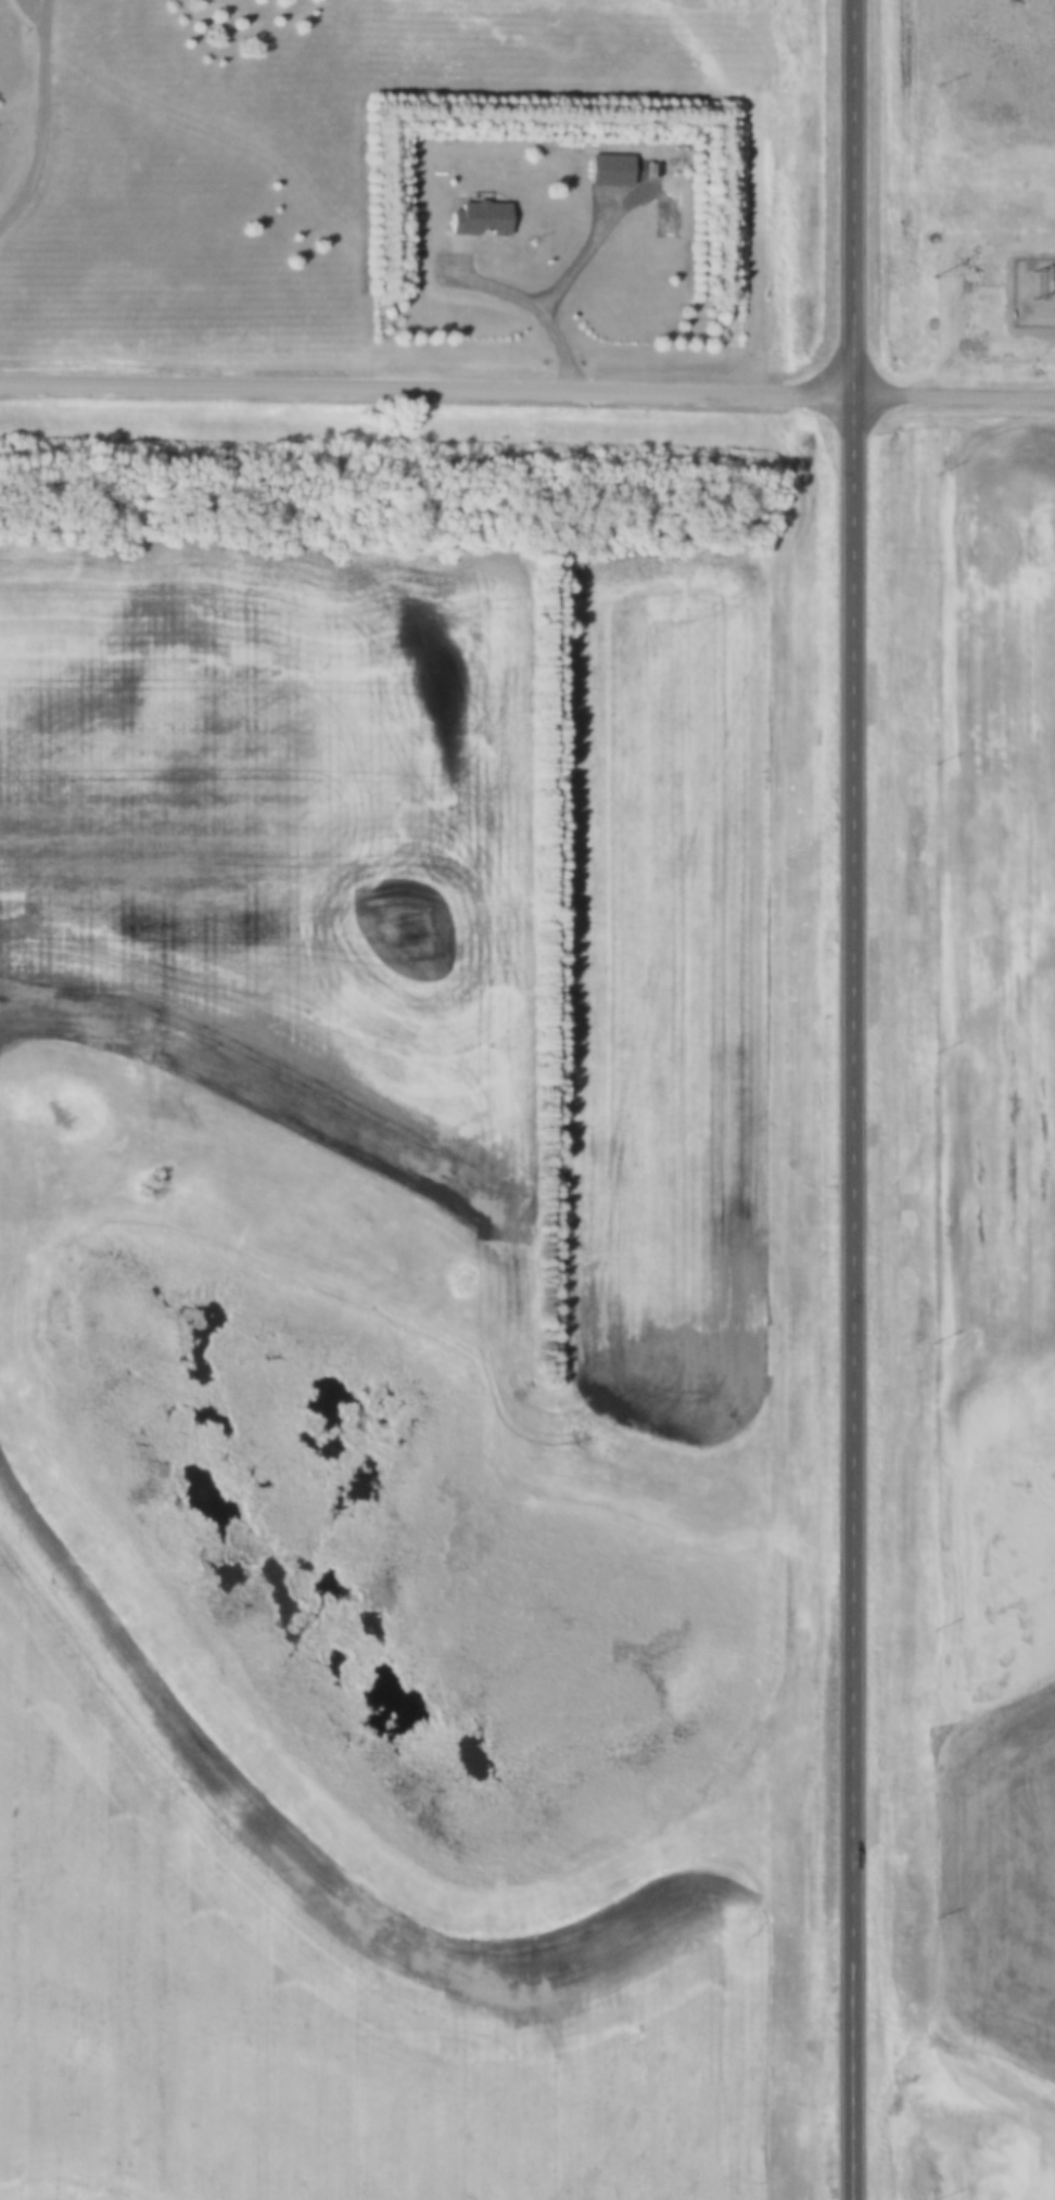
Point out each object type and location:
road: (45, 118)
building: (612, 171)
building: (483, 221)
power substation: (1033, 293)
road: (526, 387)
road: (849, 1099)

